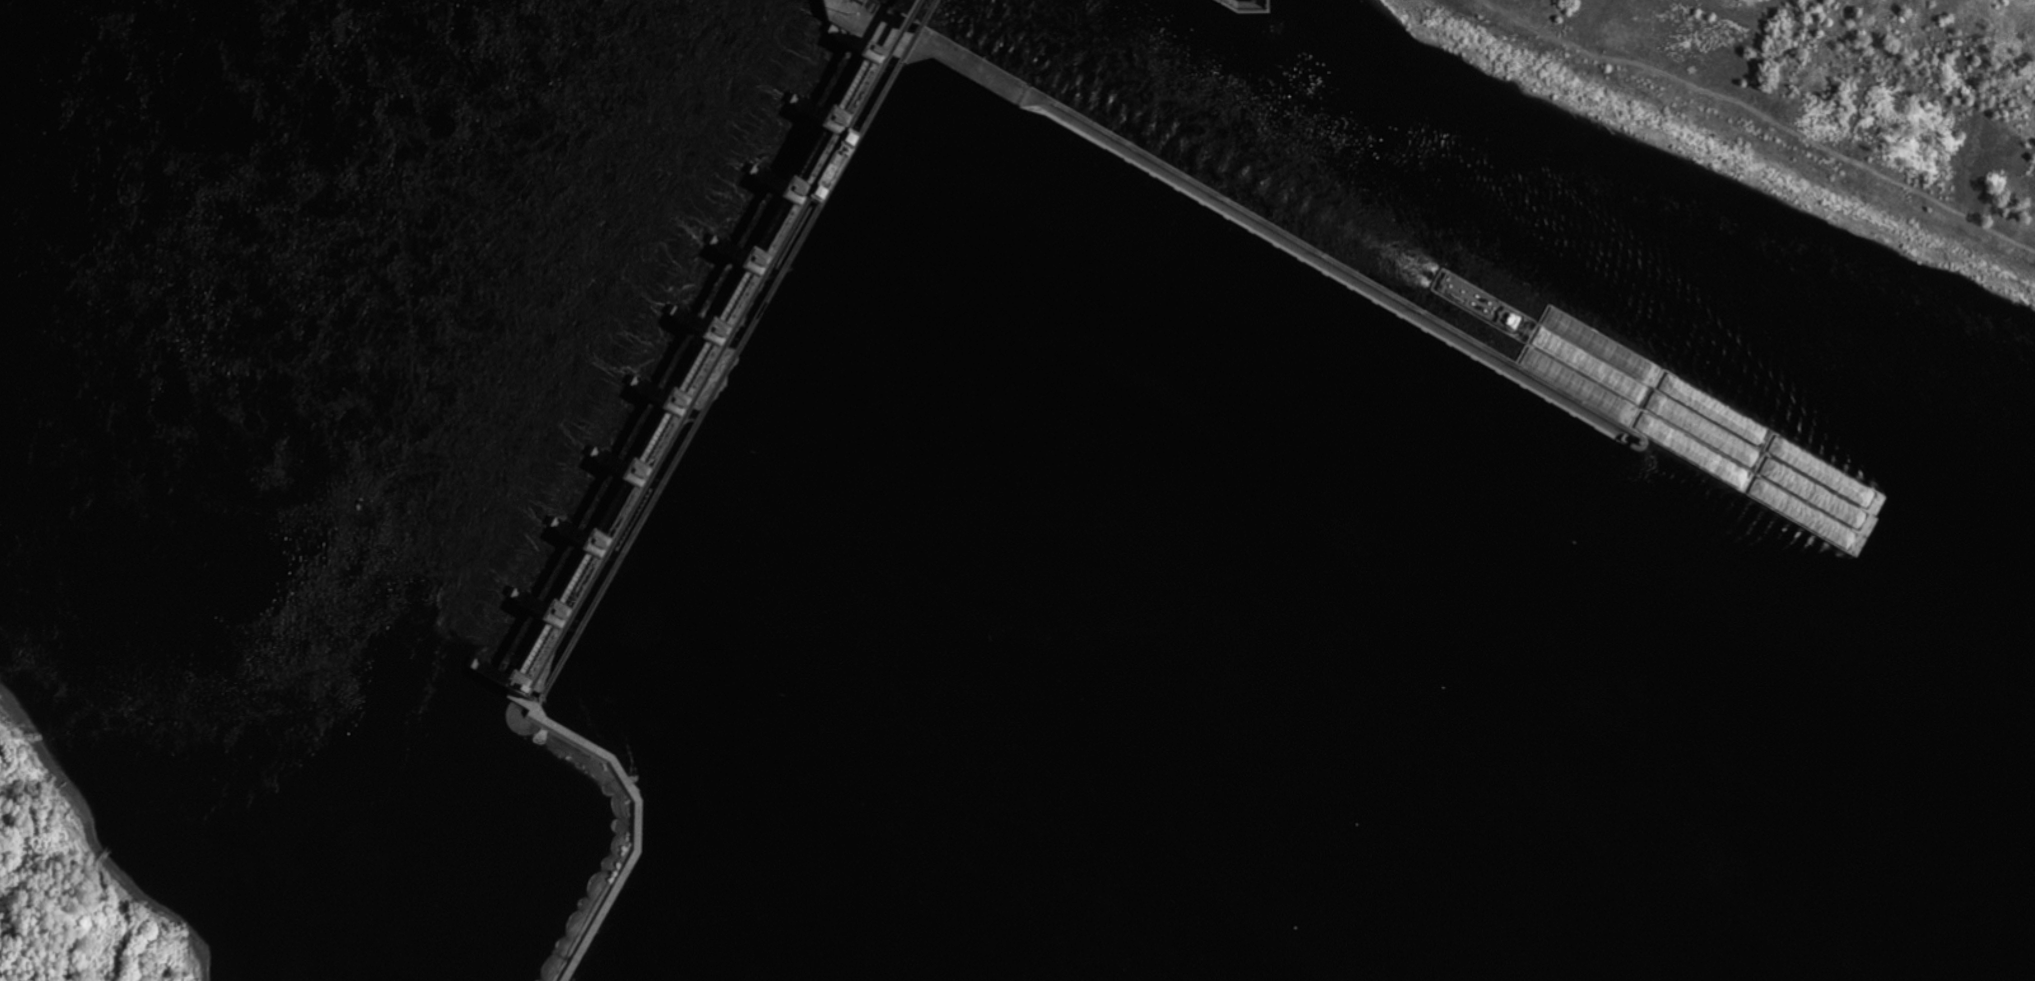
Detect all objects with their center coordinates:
river: (1211, 66)
river: (1118, 71)
river: (1680, 350)
river: (644, 427)

